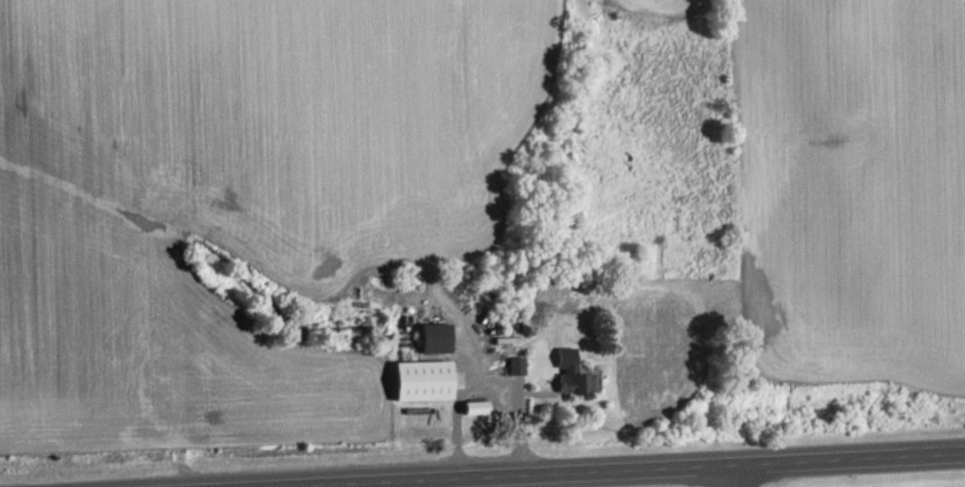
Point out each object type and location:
building: (437, 338)
building: (514, 366)
building: (570, 375)
building: (425, 381)
road: (550, 467)
road: (728, 474)

